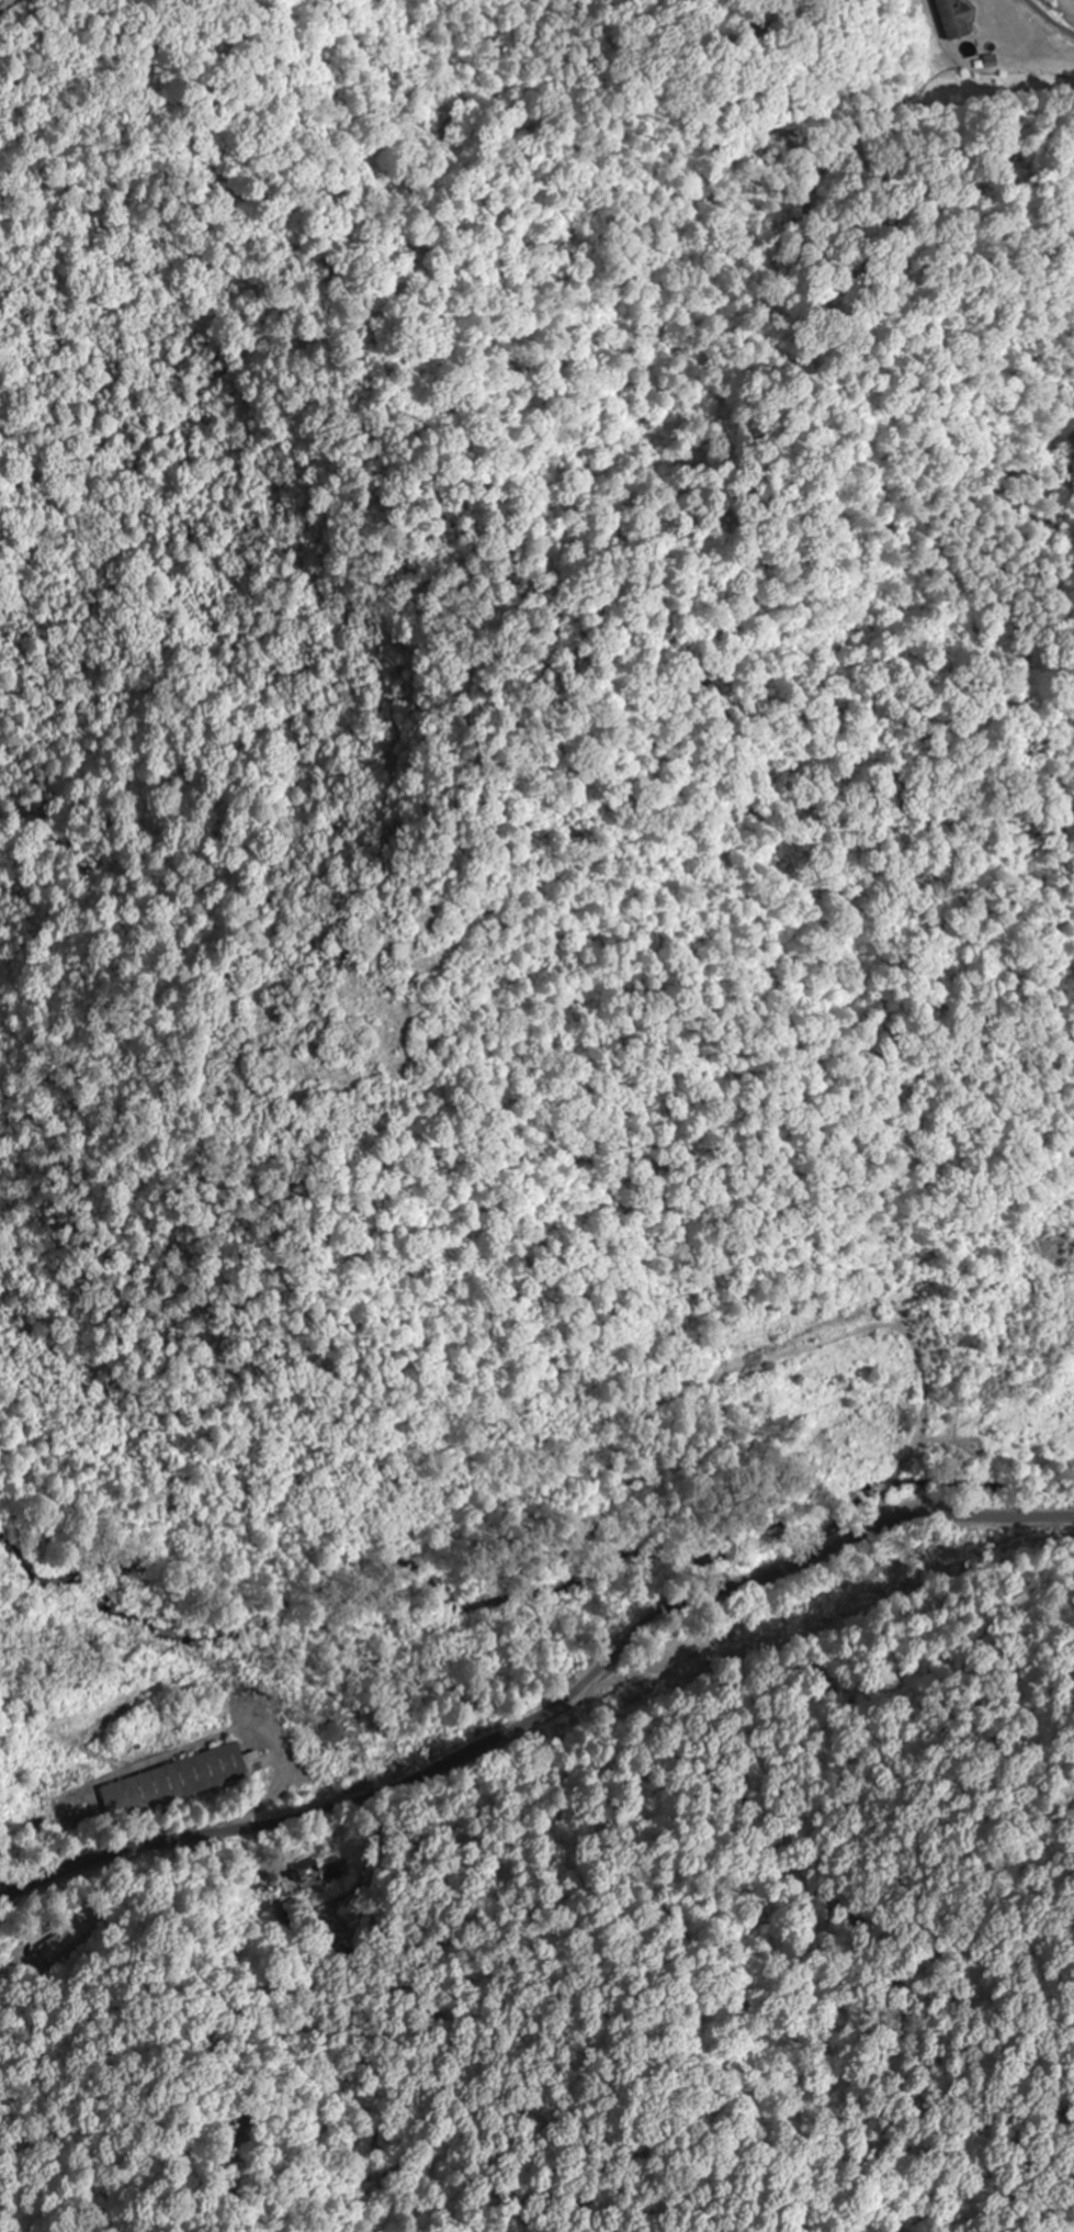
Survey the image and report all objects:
building: (954, 20)
building: (696, 1661)
road: (545, 1709)
building: (331, 1736)
building: (180, 1781)
building: (302, 1883)

